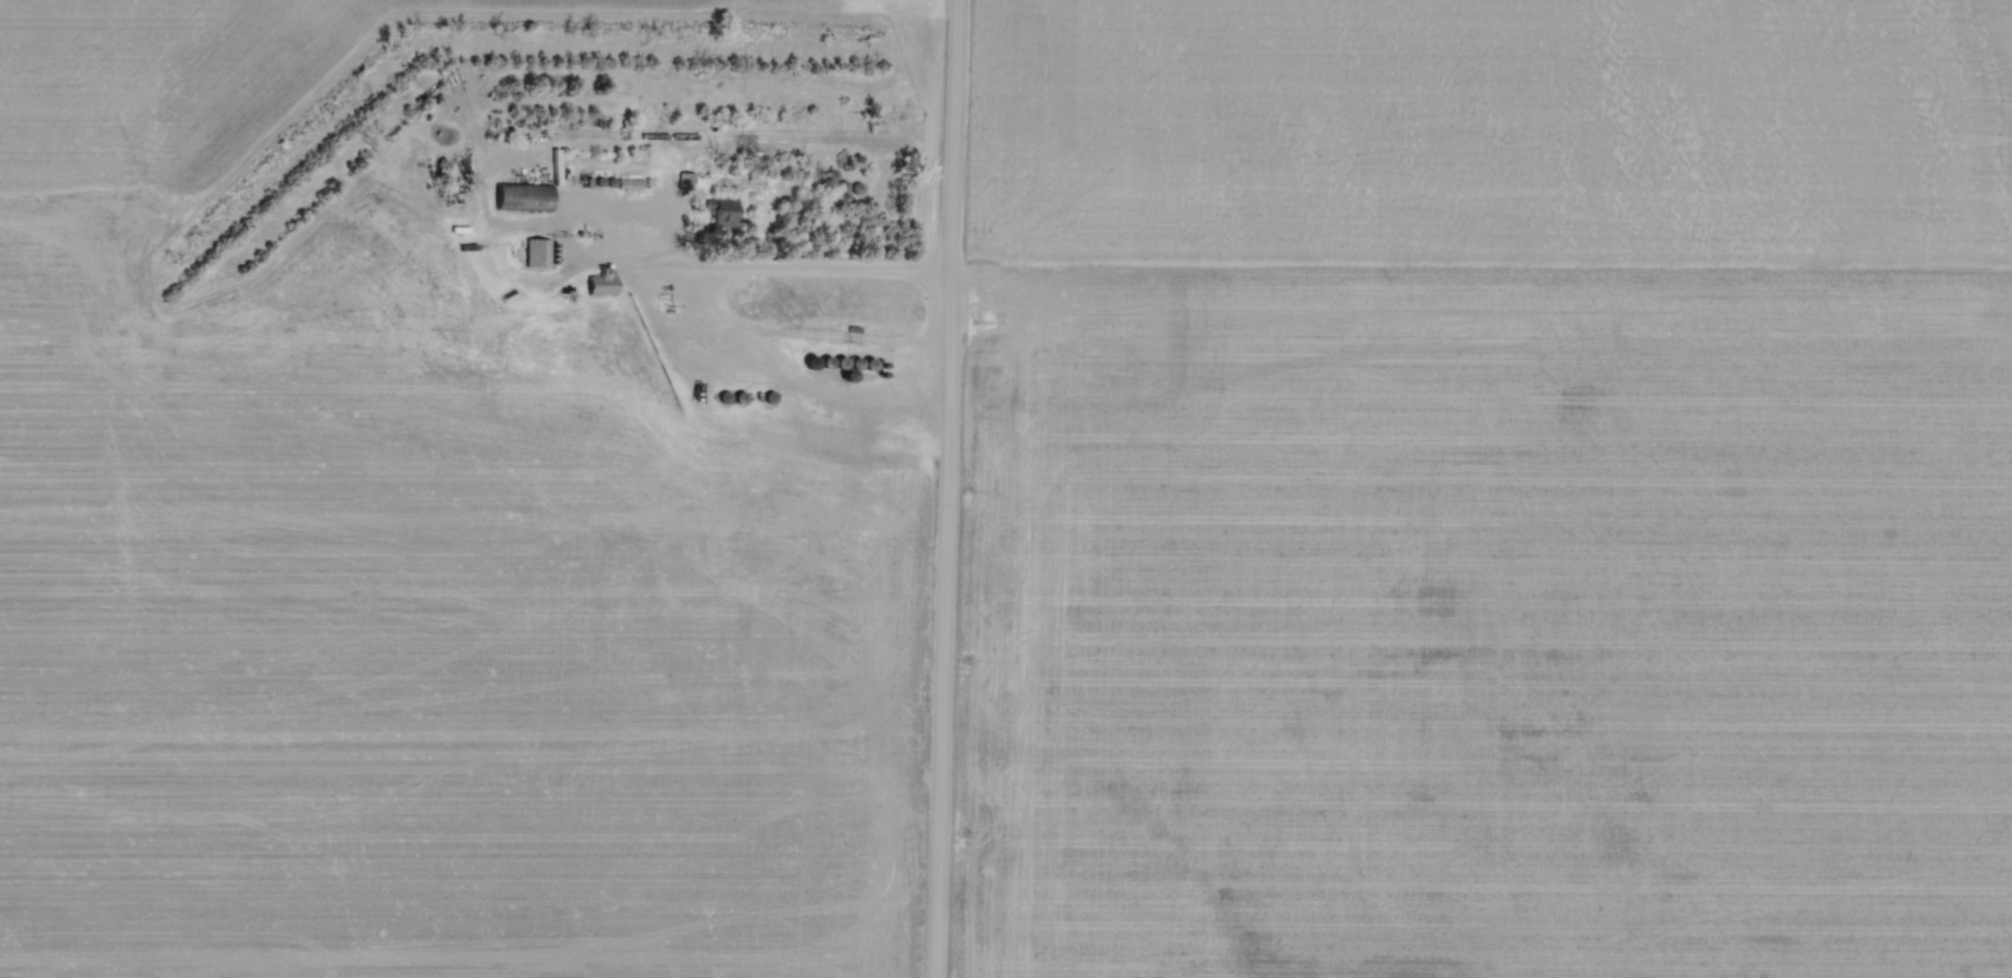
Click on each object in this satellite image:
building: (687, 179)
building: (598, 181)
silo: (598, 181)
building: (611, 182)
silo: (611, 182)
building: (630, 182)
building: (522, 198)
building: (723, 216)
building: (538, 251)
road: (765, 269)
building: (602, 290)
road: (736, 322)
building: (813, 360)
silo: (813, 360)
building: (827, 362)
silo: (827, 362)
building: (842, 362)
silo: (842, 362)
building: (856, 362)
silo: (856, 362)
building: (871, 363)
silo: (871, 363)
building: (848, 376)
silo: (848, 376)
building: (725, 396)
silo: (725, 396)
building: (741, 397)
silo: (741, 397)
building: (771, 399)
silo: (771, 399)
road: (948, 489)
crop: (1490, 490)
crop: (411, 575)

